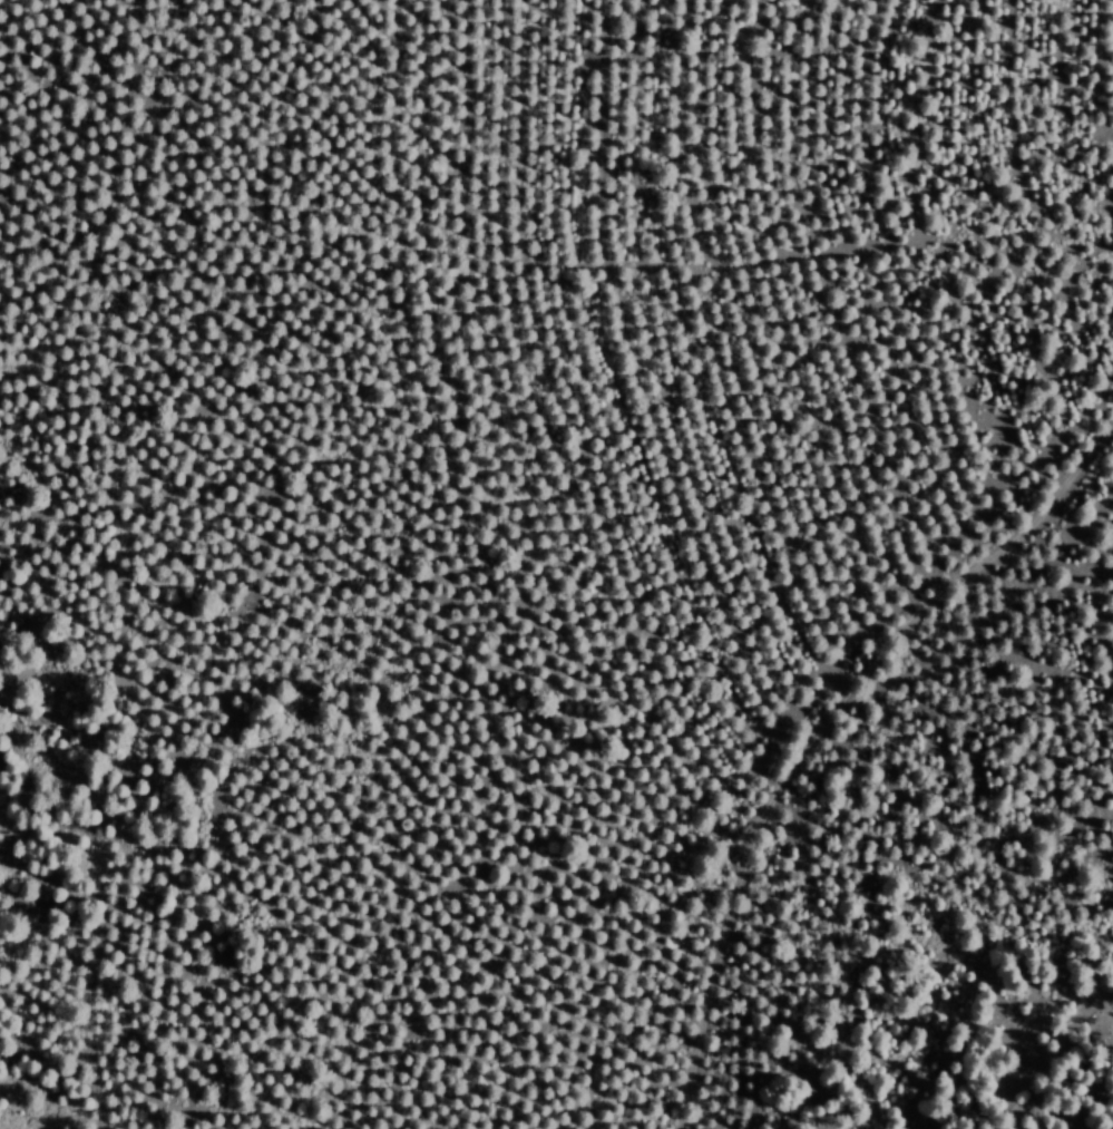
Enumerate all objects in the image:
road: (830, 734)

